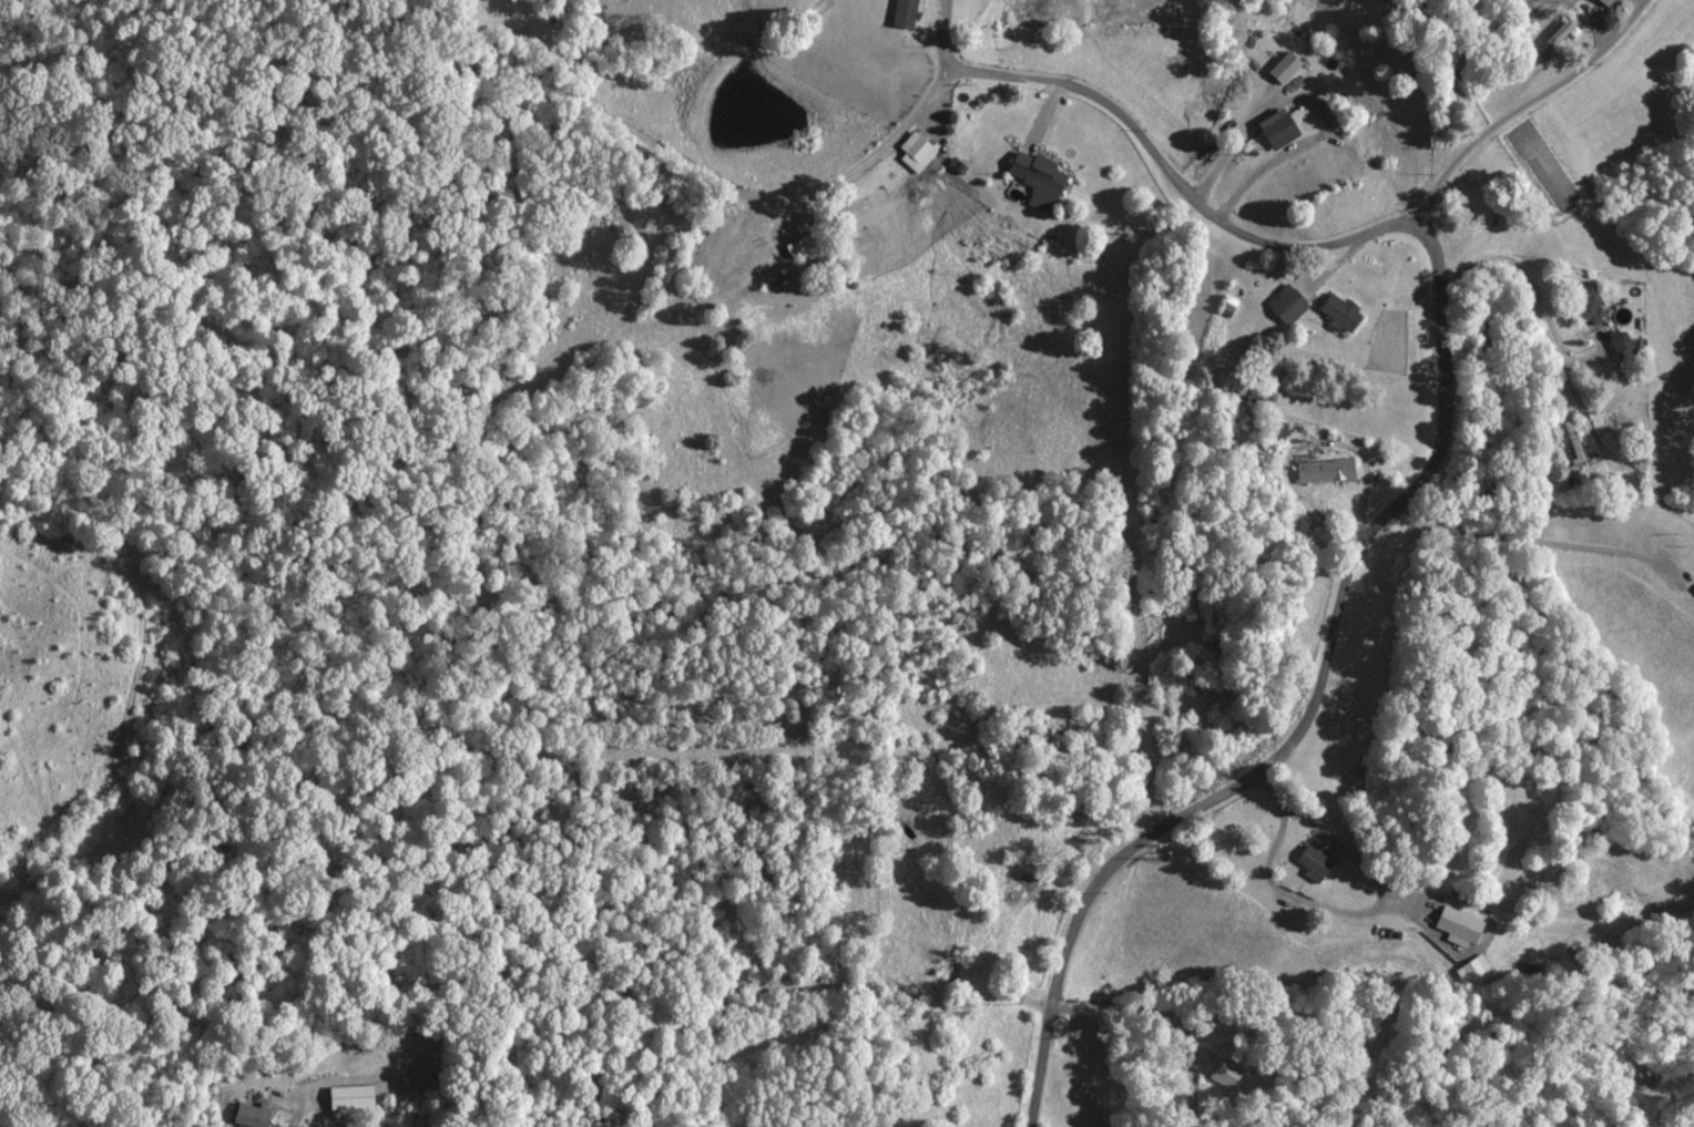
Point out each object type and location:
building: (1604, 2)
building: (901, 13)
building: (1282, 66)
road: (1523, 102)
building: (1276, 127)
building: (914, 151)
building: (1035, 175)
road: (1173, 180)
building: (800, 244)
building: (1588, 303)
building: (1227, 304)
building: (1285, 304)
road: (1528, 304)
building: (1338, 311)
building: (1619, 342)
building: (1275, 430)
building: (1324, 470)
road: (1307, 707)
building: (1313, 859)
building: (1456, 924)
building: (1471, 970)
building: (1224, 1074)
building: (348, 1097)
building: (249, 1114)

